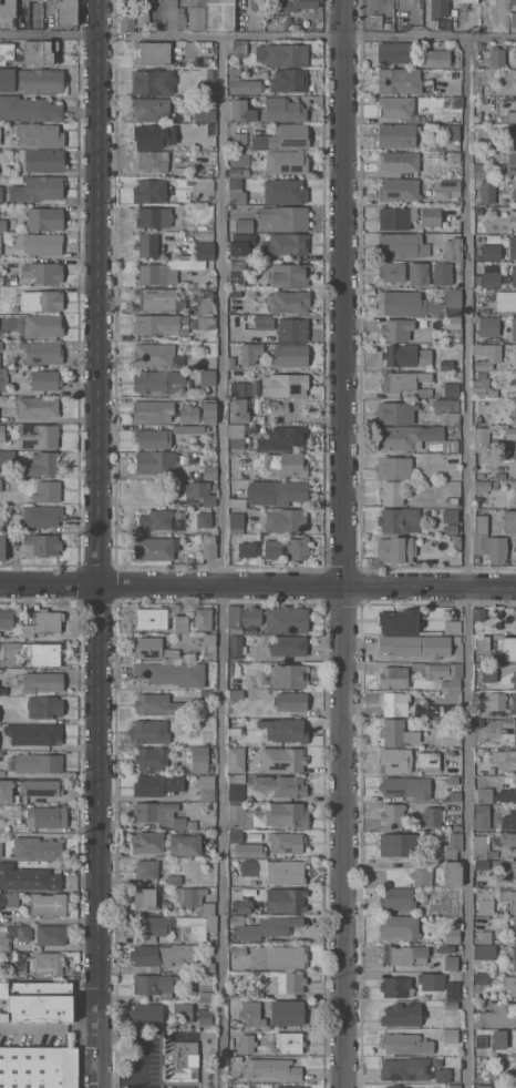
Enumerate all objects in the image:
building: (134, 0)
building: (466, 0)
building: (512, 1)
building: (296, 4)
building: (417, 4)
building: (8, 8)
building: (438, 8)
building: (66, 12)
building: (220, 16)
building: (126, 17)
building: (182, 17)
building: (196, 17)
building: (143, 19)
building: (513, 19)
road: (258, 35)
building: (239, 47)
building: (515, 50)
building: (6, 51)
building: (41, 51)
building: (394, 51)
building: (153, 52)
building: (282, 54)
building: (496, 57)
building: (436, 58)
building: (210, 72)
building: (32, 80)
building: (290, 80)
building: (153, 81)
building: (405, 81)
building: (515, 82)
building: (245, 85)
building: (478, 90)
building: (484, 100)
building: (457, 102)
building: (395, 105)
building: (29, 108)
building: (151, 108)
building: (283, 109)
building: (241, 110)
building: (205, 114)
building: (509, 114)
building: (421, 118)
building: (451, 132)
building: (398, 134)
building: (39, 135)
building: (155, 135)
building: (513, 135)
building: (283, 136)
building: (239, 139)
building: (239, 157)
building: (42, 159)
building: (151, 161)
building: (399, 161)
building: (287, 162)
building: (512, 163)
building: (179, 170)
building: (479, 170)
building: (238, 171)
building: (38, 189)
building: (448, 189)
building: (149, 190)
building: (399, 190)
building: (236, 191)
building: (285, 191)
building: (487, 192)
building: (1, 193)
building: (514, 193)
building: (458, 202)
building: (431, 215)
building: (151, 217)
building: (286, 217)
building: (396, 217)
building: (44, 218)
building: (515, 222)
building: (2, 224)
building: (244, 225)
building: (0, 243)
building: (43, 243)
building: (240, 243)
building: (286, 243)
building: (147, 244)
building: (402, 245)
building: (512, 246)
building: (453, 248)
building: (205, 251)
building: (486, 252)
building: (163, 270)
building: (392, 271)
building: (237, 272)
building: (43, 273)
building: (419, 273)
building: (442, 273)
building: (290, 274)
building: (514, 274)
building: (489, 278)
building: (6, 281)
building: (235, 292)
road: (100, 295)
building: (158, 299)
building: (506, 299)
building: (40, 301)
building: (289, 302)
building: (417, 303)
building: (206, 305)
building: (14, 307)
road: (221, 313)
road: (467, 313)
building: (204, 322)
building: (264, 322)
building: (451, 322)
building: (159, 324)
building: (41, 325)
building: (489, 326)
building: (514, 327)
building: (292, 328)
building: (396, 328)
building: (1, 338)
building: (1, 345)
building: (42, 352)
building: (250, 353)
building: (206, 354)
building: (156, 355)
building: (290, 355)
building: (405, 355)
building: (487, 355)
building: (515, 356)
building: (231, 363)
building: (446, 364)
building: (482, 374)
building: (208, 377)
building: (3, 379)
building: (510, 379)
building: (45, 380)
building: (403, 380)
building: (158, 382)
building: (285, 384)
building: (240, 388)
building: (483, 388)
building: (452, 389)
building: (425, 392)
building: (445, 405)
building: (37, 407)
building: (152, 410)
building: (209, 410)
building: (239, 410)
building: (396, 411)
building: (188, 414)
building: (515, 414)
building: (451, 417)
building: (188, 428)
building: (1, 431)
building: (38, 435)
building: (153, 437)
building: (283, 437)
building: (413, 437)
building: (482, 440)
building: (508, 440)
building: (237, 443)
building: (1, 445)
building: (1, 457)
building: (156, 461)
building: (42, 462)
building: (286, 464)
building: (394, 467)
building: (208, 468)
building: (502, 475)
building: (1, 484)
building: (482, 486)
building: (48, 490)
building: (200, 491)
building: (285, 491)
building: (391, 492)
building: (515, 494)
building: (451, 500)
building: (450, 515)
building: (42, 516)
building: (159, 518)
building: (204, 519)
building: (399, 519)
building: (286, 520)
building: (509, 521)
building: (236, 522)
building: (482, 523)
building: (451, 528)
building: (456, 541)
road: (347, 543)
building: (41, 545)
building: (2, 546)
building: (298, 547)
building: (492, 547)
building: (515, 547)
building: (153, 548)
building: (247, 548)
building: (272, 548)
building: (395, 549)
building: (209, 550)
road: (431, 589)
road: (173, 590)
building: (479, 613)
building: (251, 616)
building: (7, 618)
building: (151, 618)
building: (204, 619)
building: (235, 619)
building: (286, 619)
building: (399, 621)
building: (44, 622)
building: (180, 623)
building: (515, 623)
building: (452, 626)
building: (0, 634)
building: (209, 639)
building: (416, 644)
building: (236, 645)
building: (288, 645)
building: (147, 647)
building: (508, 648)
building: (484, 649)
building: (11, 653)
building: (44, 654)
building: (487, 671)
building: (172, 673)
building: (442, 673)
building: (289, 675)
building: (394, 677)
building: (515, 679)
building: (42, 681)
building: (3, 691)
building: (206, 693)
building: (236, 694)
building: (291, 701)
building: (496, 701)
building: (514, 701)
building: (392, 703)
building: (155, 704)
building: (44, 706)
building: (429, 709)
building: (450, 709)
building: (285, 729)
building: (149, 731)
building: (34, 733)
building: (396, 733)
building: (513, 734)
building: (454, 752)
building: (504, 755)
building: (199, 757)
building: (152, 759)
building: (237, 759)
building: (281, 759)
building: (395, 760)
building: (427, 760)
building: (38, 762)
building: (484, 767)
building: (450, 769)
building: (453, 780)
building: (157, 784)
building: (237, 786)
building: (286, 786)
building: (406, 786)
building: (207, 787)
building: (28, 789)
building: (514, 793)
building: (484, 794)
building: (455, 795)
building: (152, 810)
building: (287, 814)
building: (238, 815)
building: (393, 815)
building: (43, 816)
building: (431, 816)
building: (482, 816)
building: (508, 817)
building: (180, 822)
building: (236, 836)
road: (99, 838)
road: (221, 838)
road: (467, 838)
building: (508, 838)
building: (147, 842)
building: (287, 842)
building: (185, 844)
building: (398, 844)
building: (454, 844)
building: (35, 847)
building: (1, 848)
building: (483, 848)
building: (249, 850)
building: (514, 851)
road: (391, 863)
building: (483, 864)
building: (146, 868)
building: (275, 870)
building: (452, 872)
building: (513, 872)
building: (422, 876)
building: (28, 877)
building: (174, 879)
building: (190, 895)
building: (508, 897)
building: (9, 898)
building: (145, 898)
building: (398, 898)
building: (286, 899)
building: (48, 904)
building: (241, 905)
building: (453, 906)
building: (485, 906)
building: (208, 907)
building: (265, 926)
building: (175, 927)
building: (400, 927)
building: (513, 928)
building: (24, 933)
building: (51, 934)
building: (452, 934)
building: (485, 936)
building: (3, 942)
building: (239, 949)
building: (485, 952)
building: (405, 954)
building: (162, 955)
building: (278, 956)
building: (514, 956)
building: (19, 962)
building: (50, 962)
building: (451, 963)
building: (207, 966)
building: (479, 977)
building: (432, 980)
building: (291, 982)
building: (510, 984)
building: (154, 985)
building: (396, 986)
building: (453, 989)
building: (237, 990)
building: (207, 996)
building: (37, 1000)
building: (451, 1004)
building: (146, 1013)
building: (183, 1013)
building: (288, 1013)
building: (251, 1014)
building: (402, 1015)
building: (495, 1015)
building: (205, 1016)
building: (451, 1035)
building: (498, 1038)
building: (481, 1040)
building: (290, 1041)
building: (246, 1043)
building: (406, 1043)
building: (143, 1045)
building: (233, 1051)
building: (179, 1060)
building: (39, 1068)
building: (272, 1068)
building: (405, 1068)
building: (443, 1075)
building: (395, 1086)
building: (454, 1086)
building: (485, 1086)
building: (291, 1087)

